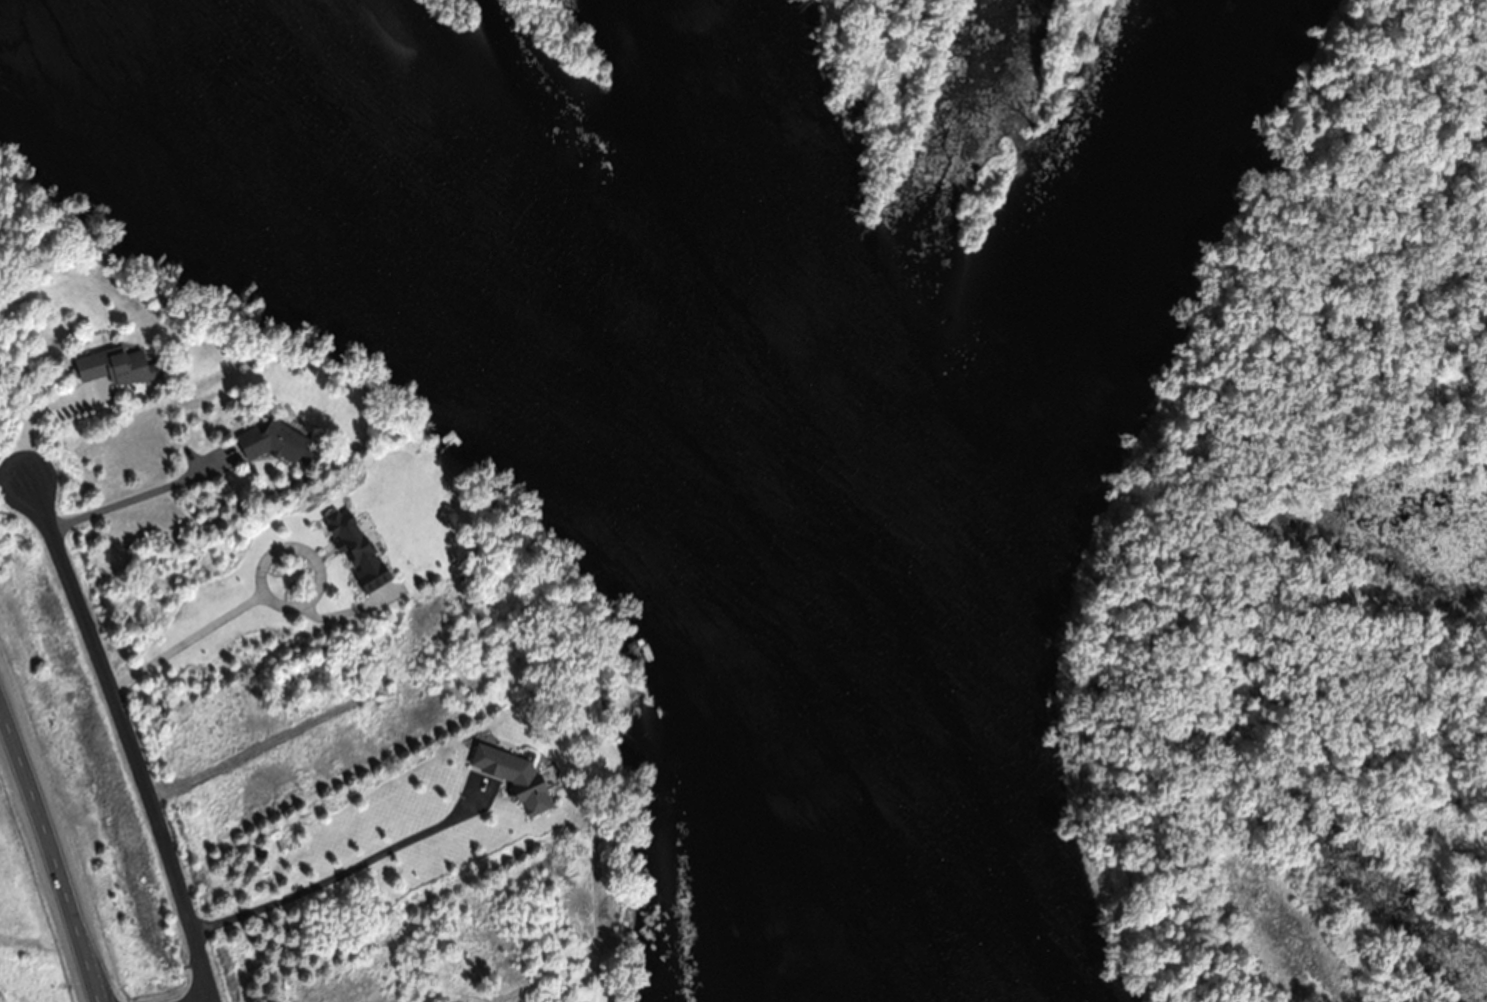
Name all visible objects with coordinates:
building: (117, 365)
river: (734, 426)
building: (274, 439)
road: (37, 440)
building: (358, 547)
road: (125, 730)
road: (53, 849)
road: (203, 1000)

